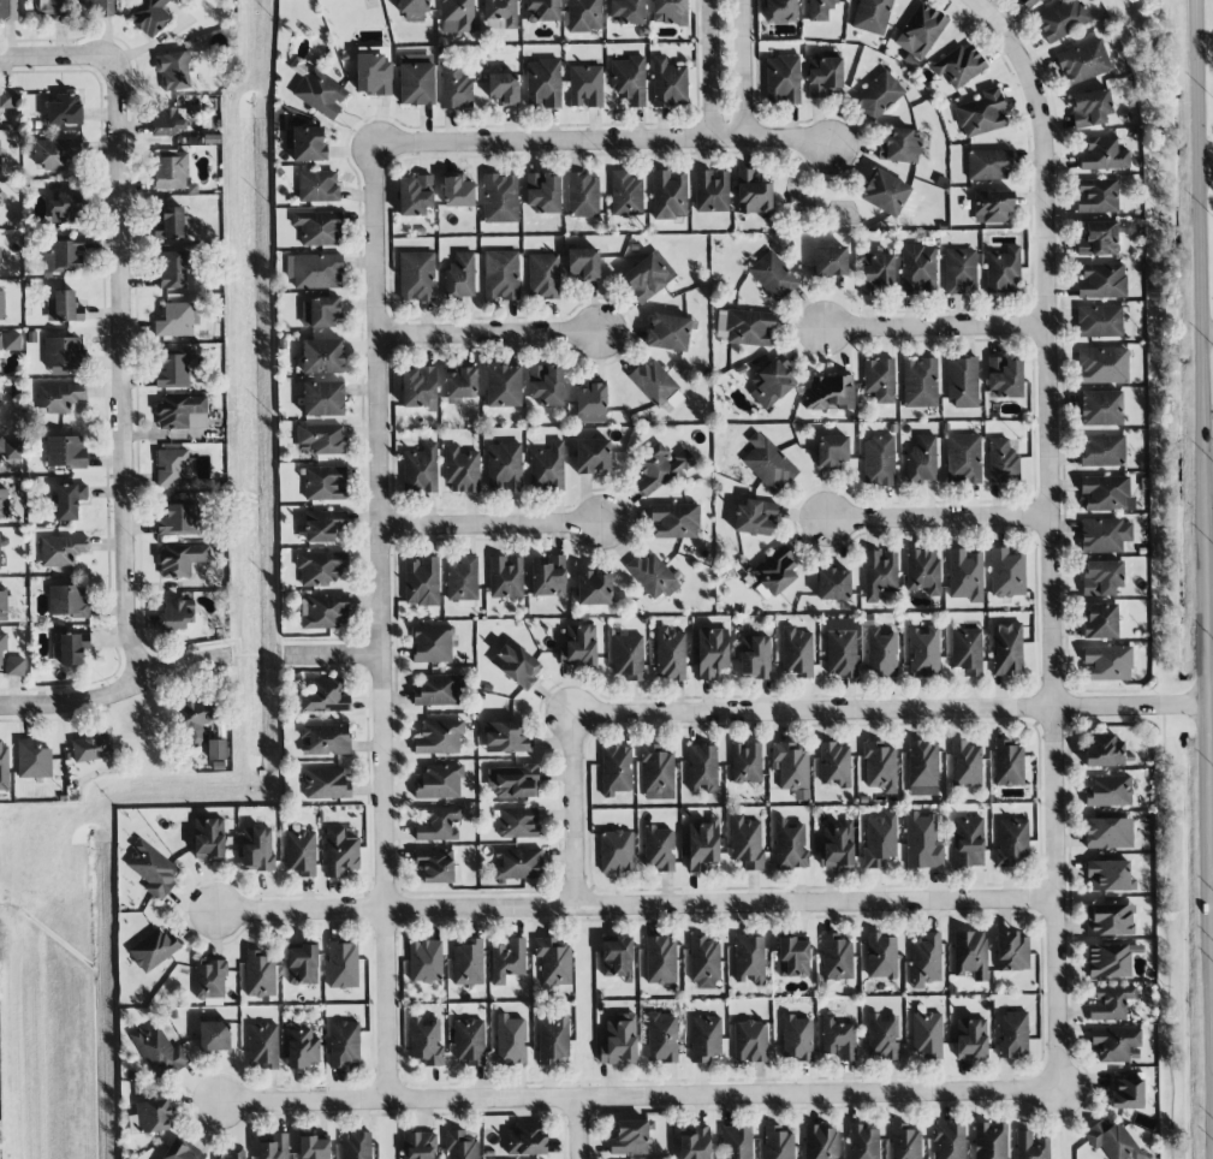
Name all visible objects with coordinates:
building: (1029, 2)
road: (989, 7)
building: (99, 8)
building: (7, 10)
building: (53, 10)
building: (414, 10)
building: (820, 10)
building: (541, 11)
building: (628, 11)
building: (780, 11)
building: (668, 12)
building: (499, 14)
building: (457, 16)
building: (584, 16)
building: (872, 16)
building: (149, 17)
building: (1062, 20)
building: (920, 31)
building: (1082, 63)
building: (959, 66)
road: (59, 69)
road: (712, 69)
road: (742, 69)
building: (173, 71)
building: (823, 75)
building: (415, 79)
building: (783, 79)
building: (629, 82)
building: (542, 83)
building: (668, 84)
building: (456, 87)
building: (584, 87)
building: (503, 88)
building: (320, 91)
building: (878, 95)
building: (7, 106)
building: (1089, 108)
building: (64, 109)
building: (981, 113)
building: (168, 120)
road: (602, 139)
building: (308, 144)
building: (899, 147)
building: (55, 153)
building: (1104, 155)
building: (988, 165)
road: (1208, 170)
building: (170, 172)
building: (317, 186)
building: (710, 191)
building: (457, 192)
building: (542, 192)
building: (884, 192)
building: (751, 194)
building: (415, 195)
building: (626, 195)
building: (668, 195)
building: (583, 196)
building: (1096, 196)
building: (500, 198)
building: (992, 207)
building: (64, 209)
building: (171, 224)
building: (319, 228)
building: (1098, 239)
building: (64, 257)
building: (830, 261)
building: (582, 263)
building: (918, 268)
building: (172, 269)
building: (315, 271)
building: (959, 271)
building: (1001, 271)
building: (874, 272)
building: (459, 275)
building: (501, 275)
building: (416, 277)
building: (543, 277)
building: (773, 277)
building: (647, 278)
building: (1101, 281)
building: (1, 305)
building: (64, 308)
building: (319, 313)
building: (177, 319)
building: (1099, 321)
road: (935, 326)
building: (745, 327)
building: (668, 332)
road: (488, 334)
road: (1209, 337)
building: (10, 341)
building: (63, 356)
building: (321, 356)
building: (1102, 365)
building: (172, 370)
road: (124, 378)
building: (1004, 378)
building: (880, 380)
building: (920, 382)
building: (962, 382)
building: (771, 384)
building: (460, 385)
building: (546, 385)
building: (656, 385)
building: (503, 386)
building: (418, 388)
building: (830, 393)
building: (59, 397)
building: (323, 399)
building: (590, 403)
building: (1100, 409)
building: (182, 412)
road: (1207, 416)
building: (321, 439)
building: (10, 448)
building: (65, 451)
building: (833, 451)
building: (1102, 451)
building: (591, 456)
building: (963, 459)
building: (878, 460)
building: (921, 460)
building: (1001, 462)
building: (768, 464)
building: (547, 466)
building: (172, 468)
building: (504, 468)
building: (420, 469)
building: (659, 469)
building: (460, 470)
building: (325, 483)
building: (1106, 493)
building: (69, 500)
building: (4, 503)
building: (755, 517)
road: (939, 518)
building: (177, 519)
building: (673, 522)
building: (323, 525)
road: (489, 525)
building: (1105, 535)
road: (1050, 545)
building: (61, 549)
building: (180, 559)
building: (0, 566)
building: (319, 567)
building: (923, 570)
building: (774, 571)
building: (1006, 572)
building: (879, 573)
building: (965, 575)
building: (547, 576)
building: (652, 576)
building: (505, 577)
building: (1101, 577)
building: (462, 581)
building: (421, 582)
building: (833, 584)
building: (594, 588)
building: (67, 601)
building: (5, 604)
building: (323, 612)
building: (177, 616)
road: (381, 622)
building: (1100, 622)
building: (432, 643)
building: (2, 646)
building: (578, 646)
building: (840, 648)
building: (72, 649)
building: (967, 649)
building: (1006, 649)
building: (710, 652)
building: (923, 652)
building: (797, 653)
building: (881, 653)
road: (333, 654)
building: (670, 654)
building: (628, 656)
building: (755, 656)
building: (1107, 662)
building: (516, 664)
building: (14, 666)
building: (438, 691)
road: (115, 694)
building: (325, 697)
road: (892, 709)
building: (195, 720)
building: (439, 737)
building: (504, 738)
building: (326, 739)
building: (90, 748)
building: (1104, 750)
building: (215, 751)
building: (32, 760)
building: (745, 762)
building: (1007, 763)
building: (834, 765)
building: (965, 765)
building: (2, 766)
building: (880, 767)
building: (702, 768)
building: (791, 768)
building: (922, 768)
building: (616, 769)
building: (656, 773)
building: (439, 781)
building: (512, 781)
building: (325, 784)
building: (1108, 791)
road: (575, 809)
building: (517, 822)
building: (439, 825)
building: (1108, 833)
building: (207, 839)
building: (880, 840)
building: (745, 842)
building: (922, 842)
building: (968, 842)
building: (1011, 842)
building: (702, 844)
building: (789, 845)
building: (836, 848)
building: (658, 849)
building: (256, 850)
building: (617, 851)
building: (301, 852)
building: (339, 852)
building: (518, 863)
building: (438, 866)
building: (151, 868)
building: (1108, 875)
road: (634, 904)
building: (1110, 920)
building: (153, 950)
building: (1011, 952)
building: (970, 955)
building: (880, 956)
building: (617, 958)
building: (792, 958)
building: (836, 958)
building: (749, 959)
building: (926, 959)
building: (424, 961)
building: (507, 961)
building: (554, 961)
building: (660, 961)
building: (1107, 961)
building: (468, 963)
building: (703, 963)
building: (302, 964)
building: (341, 964)
building: (260, 974)
building: (210, 981)
building: (1110, 1003)
building: (1012, 1034)
building: (927, 1035)
building: (214, 1036)
building: (882, 1036)
building: (661, 1038)
building: (704, 1038)
building: (552, 1039)
building: (797, 1039)
building: (837, 1039)
building: (970, 1039)
building: (426, 1041)
building: (510, 1041)
building: (618, 1041)
building: (750, 1041)
building: (469, 1042)
building: (344, 1044)
building: (1117, 1045)
building: (263, 1047)
building: (303, 1047)
building: (159, 1051)
building: (1126, 1090)
road: (638, 1096)
building: (149, 1117)
road: (578, 1128)
building: (630, 1139)
building: (524, 1140)
building: (949, 1141)
building: (989, 1141)
building: (1112, 1141)
building: (736, 1142)
building: (820, 1142)
building: (862, 1142)
building: (905, 1142)
building: (694, 1143)
building: (778, 1143)
building: (418, 1145)
building: (460, 1145)
building: (356, 1146)
building: (1030, 1146)
building: (274, 1147)
building: (314, 1148)
building: (179, 1152)
building: (234, 1154)

